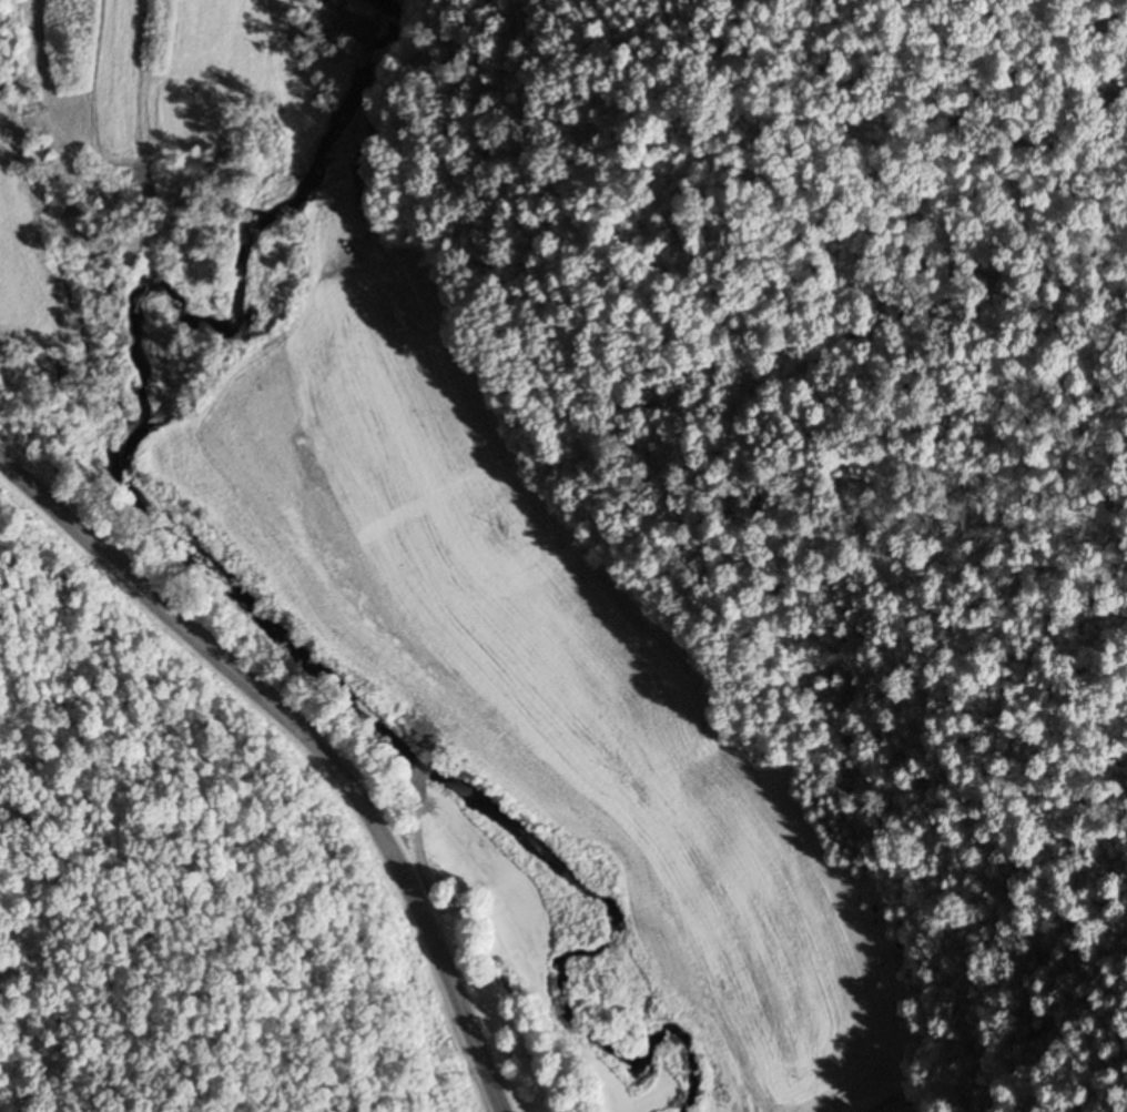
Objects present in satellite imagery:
crop: (573, 735)
road: (311, 738)

